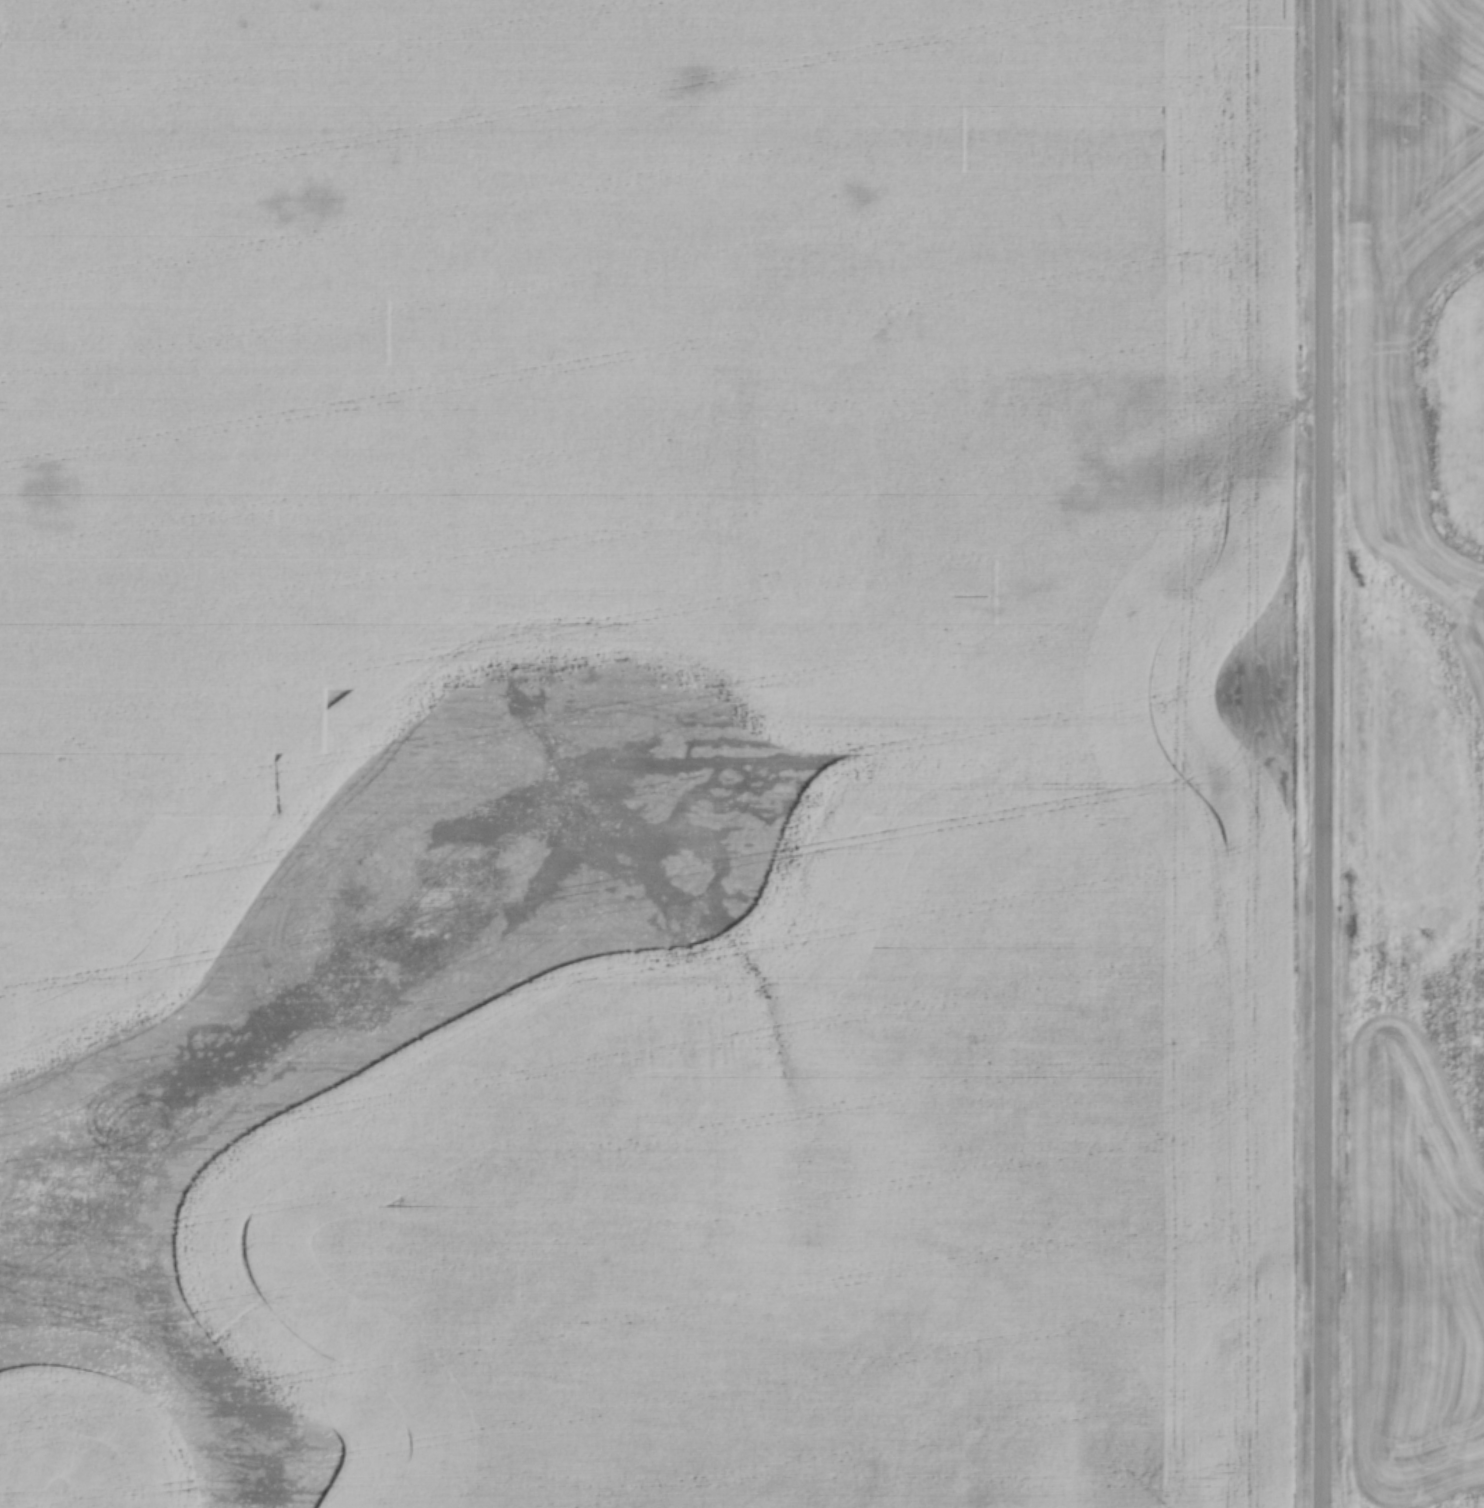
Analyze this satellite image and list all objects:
road: (1321, 754)

